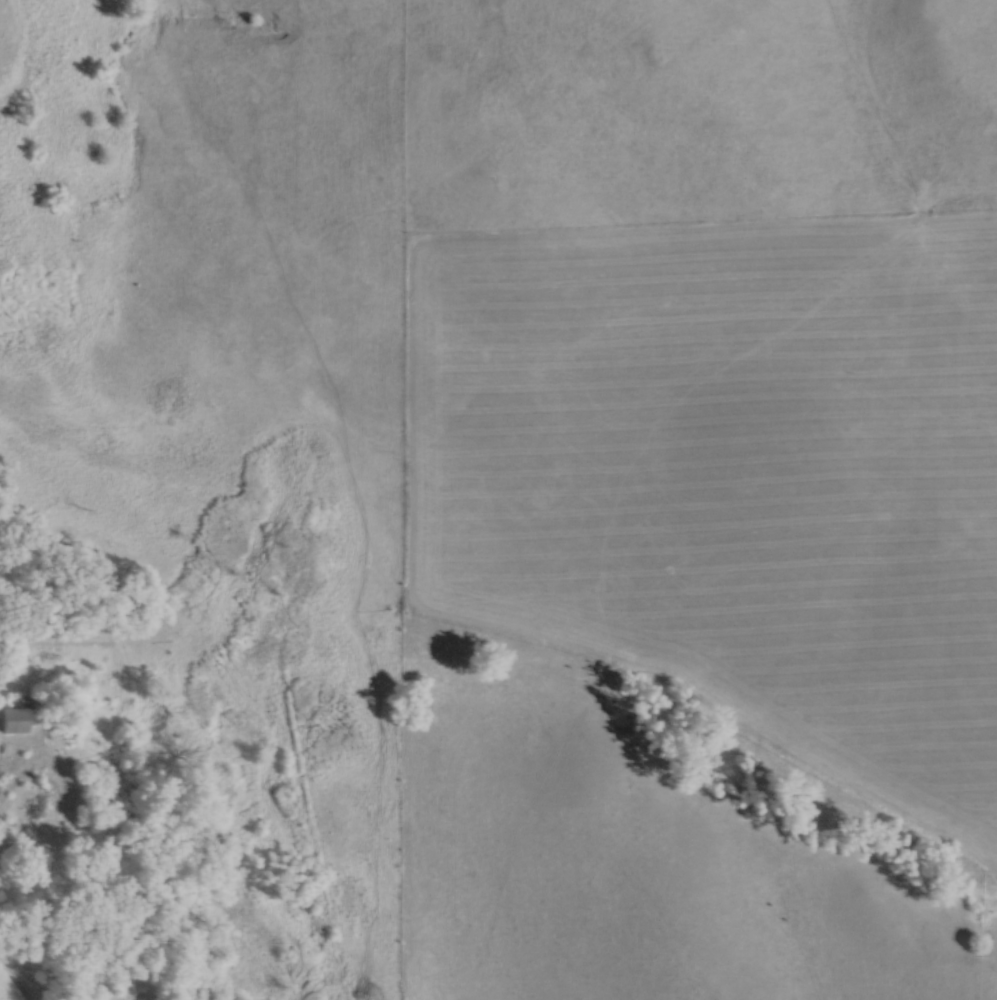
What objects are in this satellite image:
building: (13, 719)

